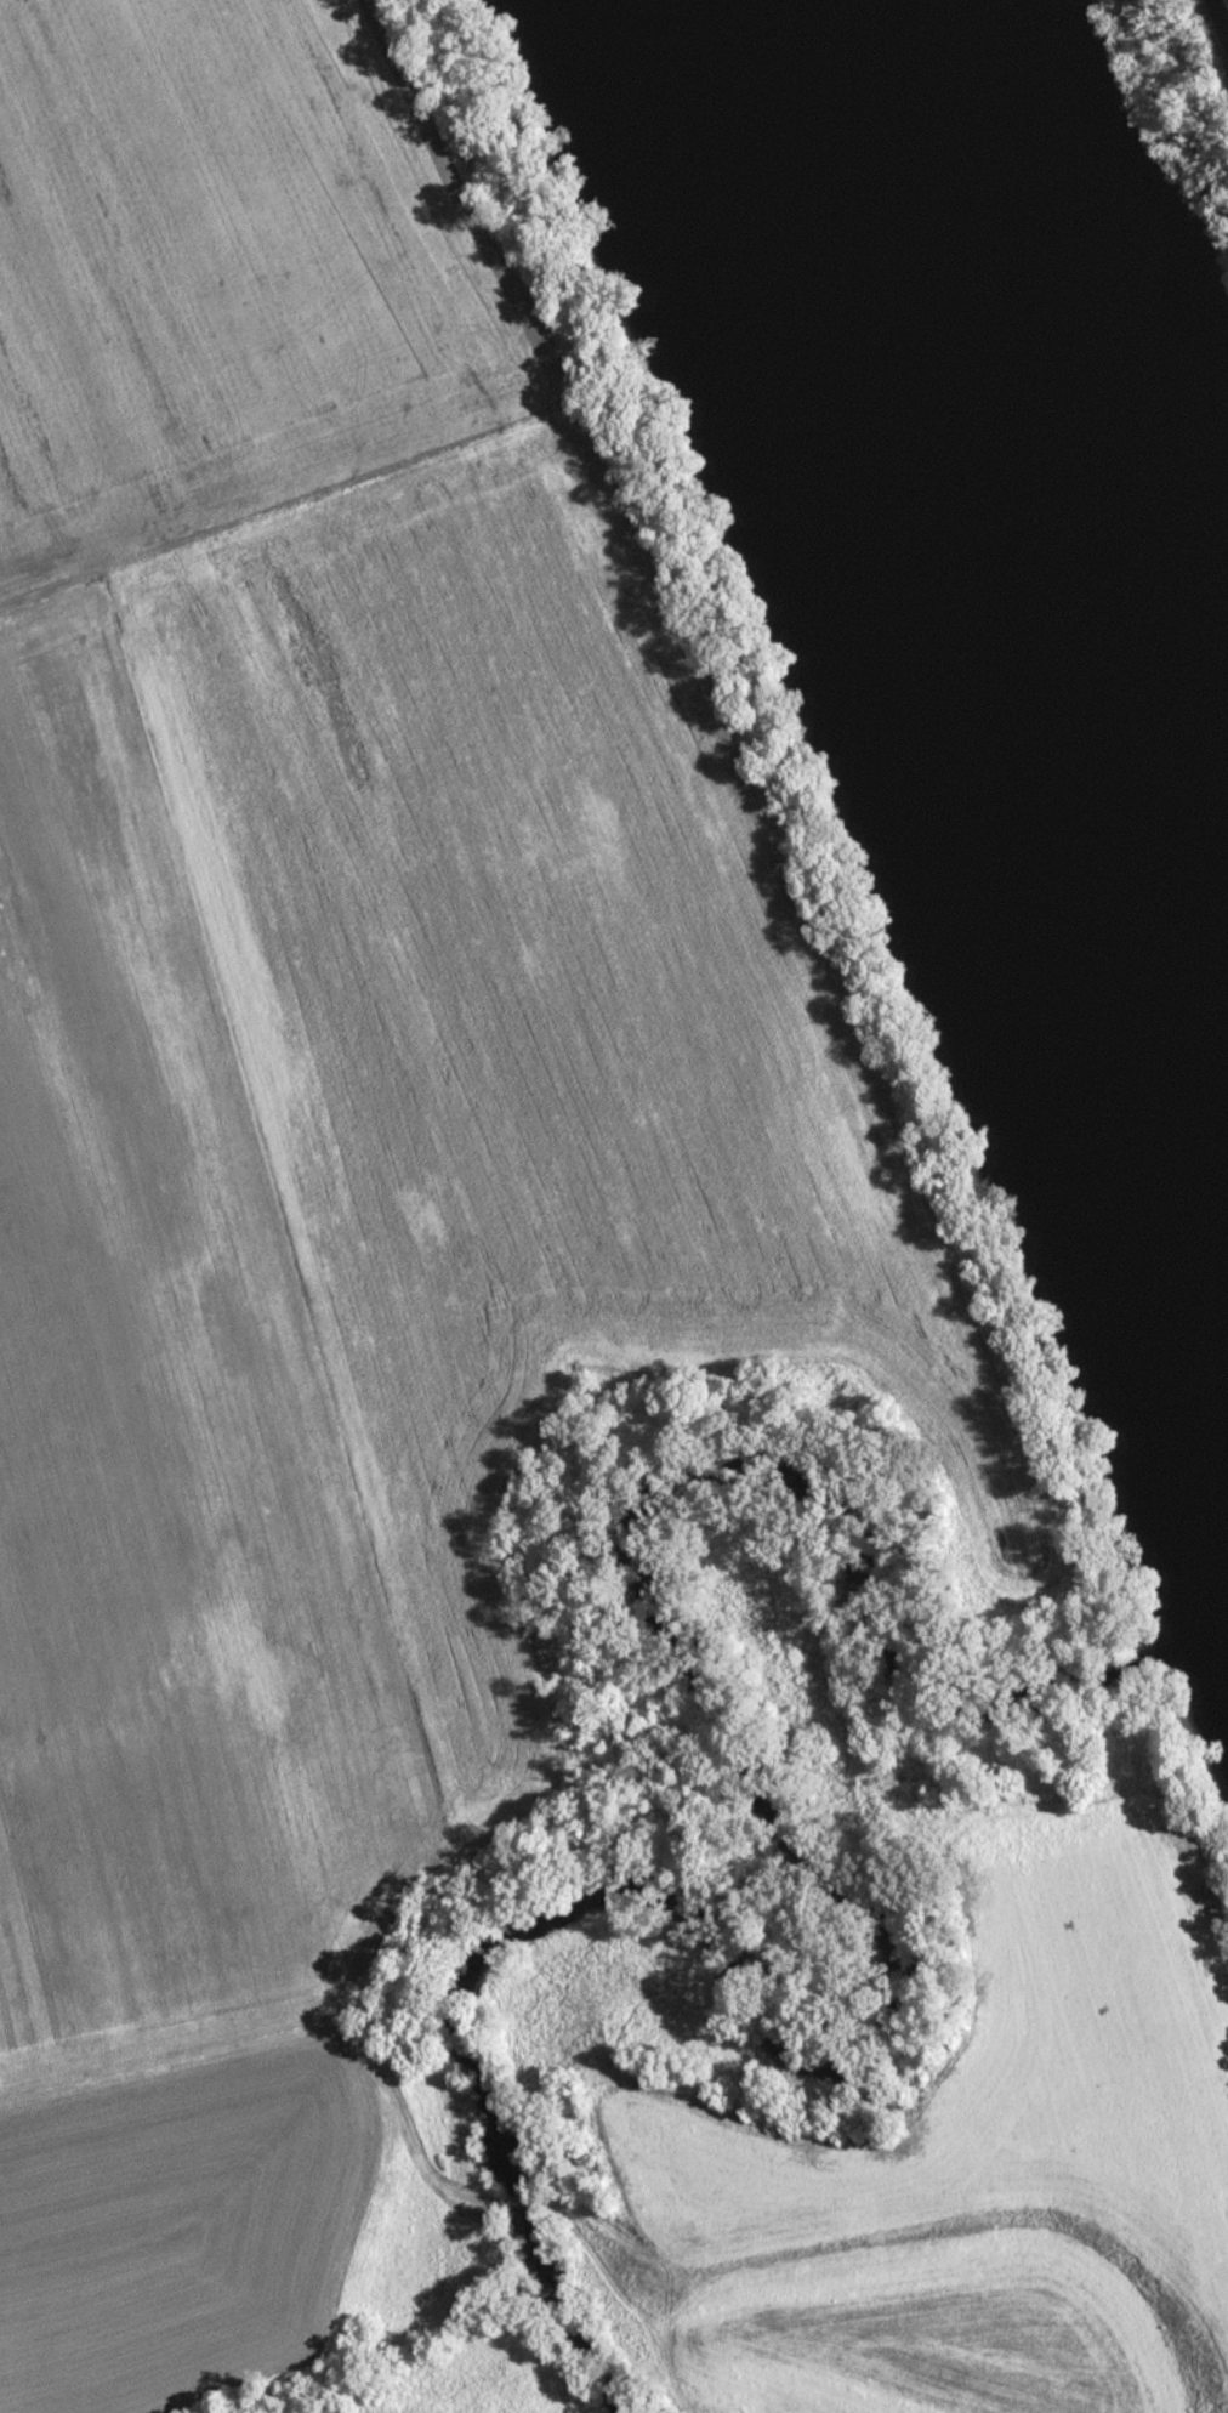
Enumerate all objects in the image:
railway: (1215, 27)
river: (979, 566)
road: (563, 1499)

